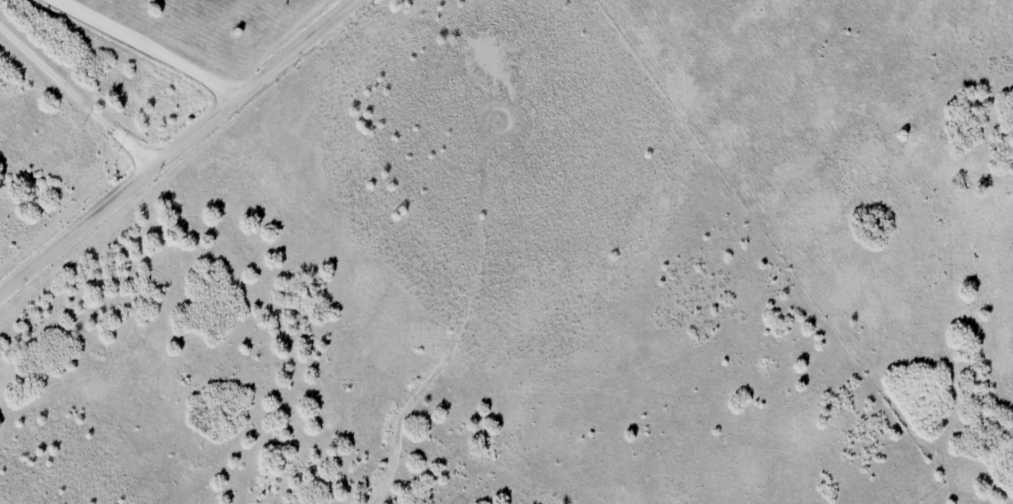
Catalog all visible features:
road: (179, 148)

